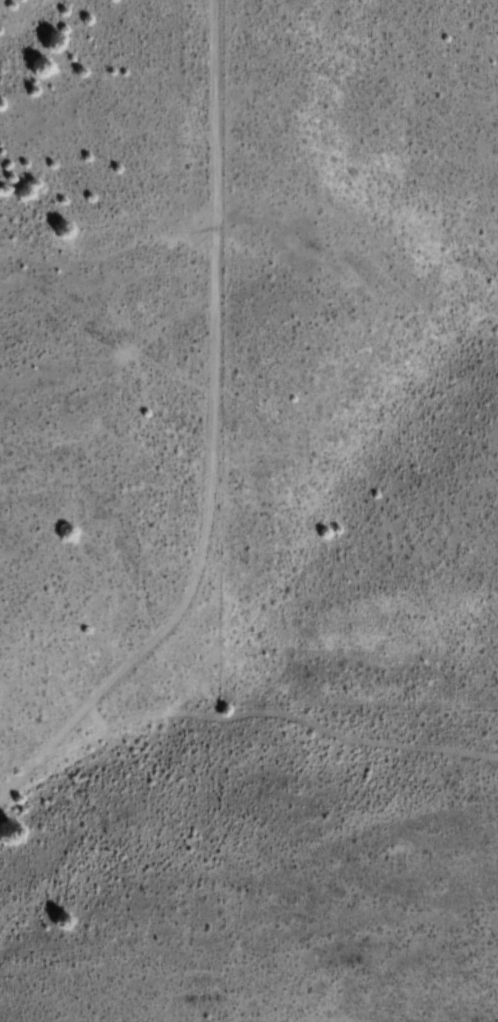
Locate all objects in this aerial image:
road: (174, 434)

